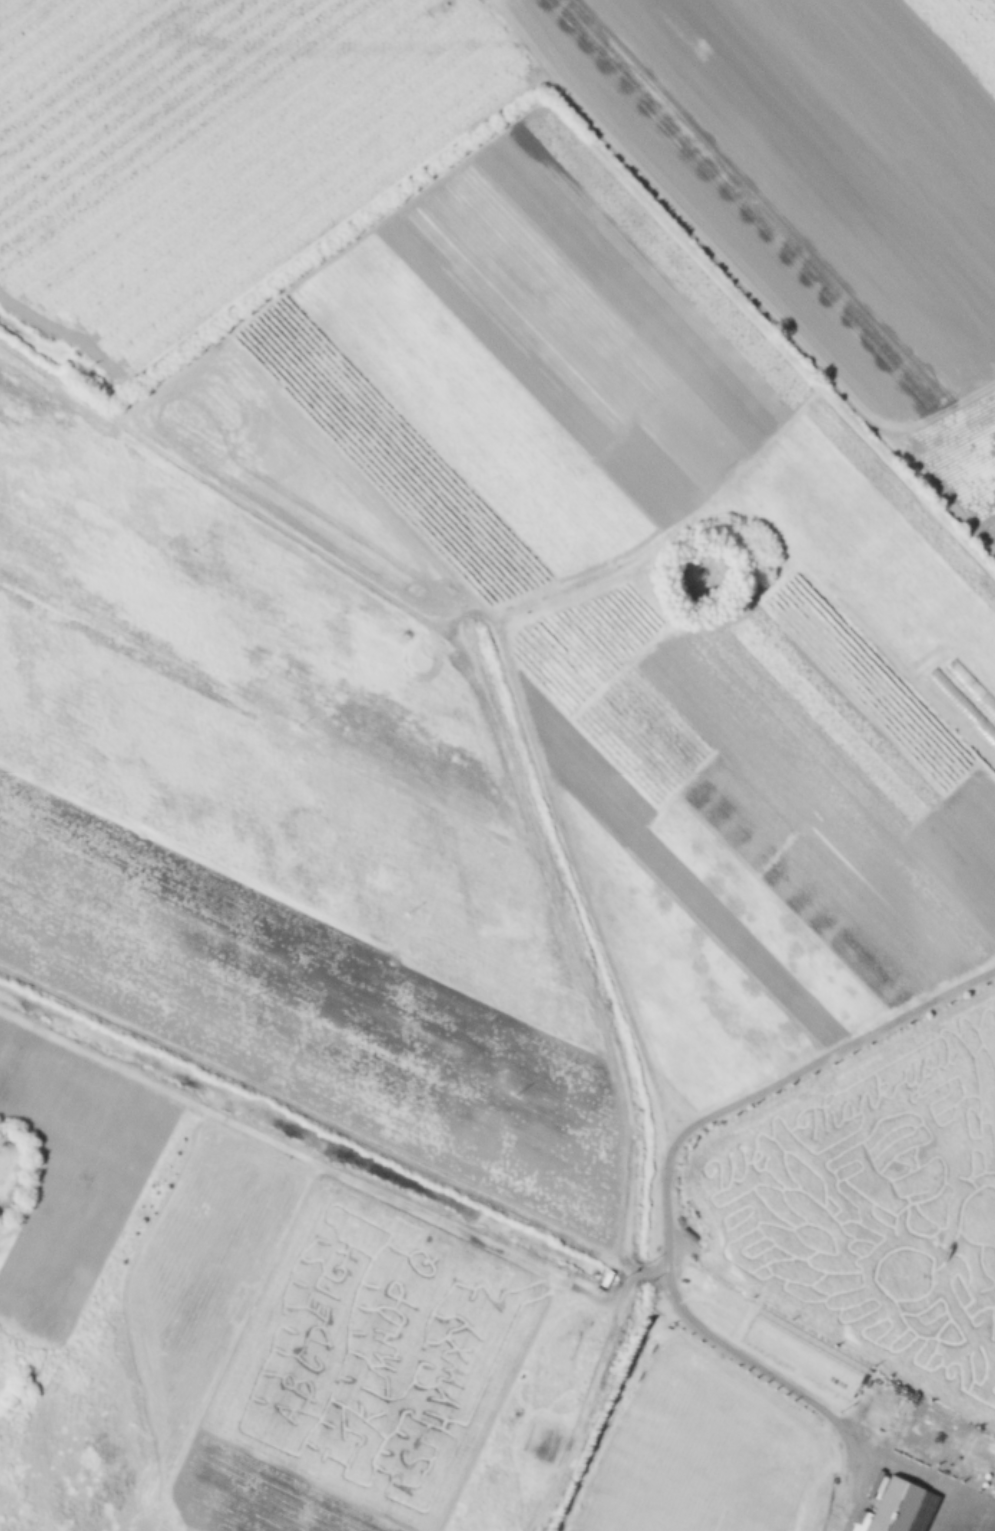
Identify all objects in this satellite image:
road: (729, 258)
crop: (498, 549)
crop: (871, 1201)
road: (665, 1235)
building: (608, 1276)
building: (846, 1371)
crop: (360, 1373)
building: (983, 1450)
building: (846, 1488)
building: (896, 1505)

